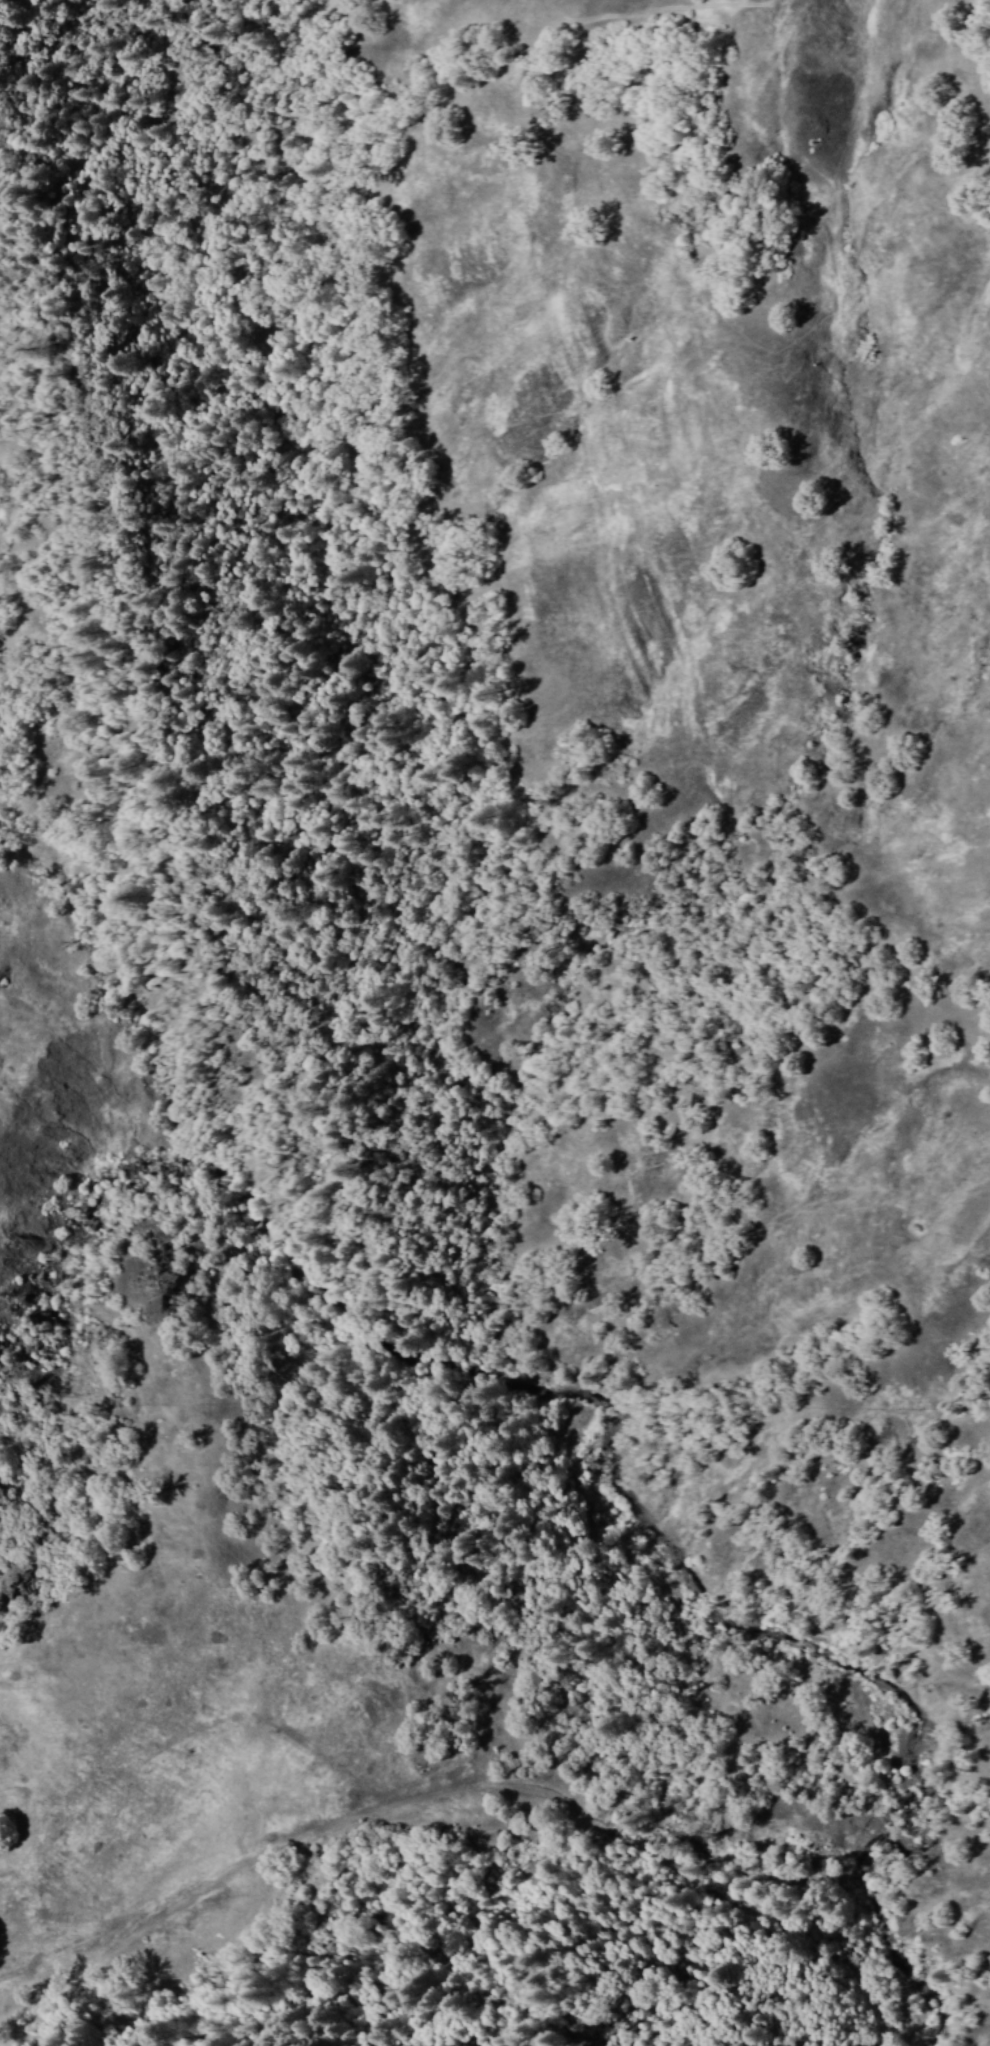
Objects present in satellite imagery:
road: (463, 1779)

